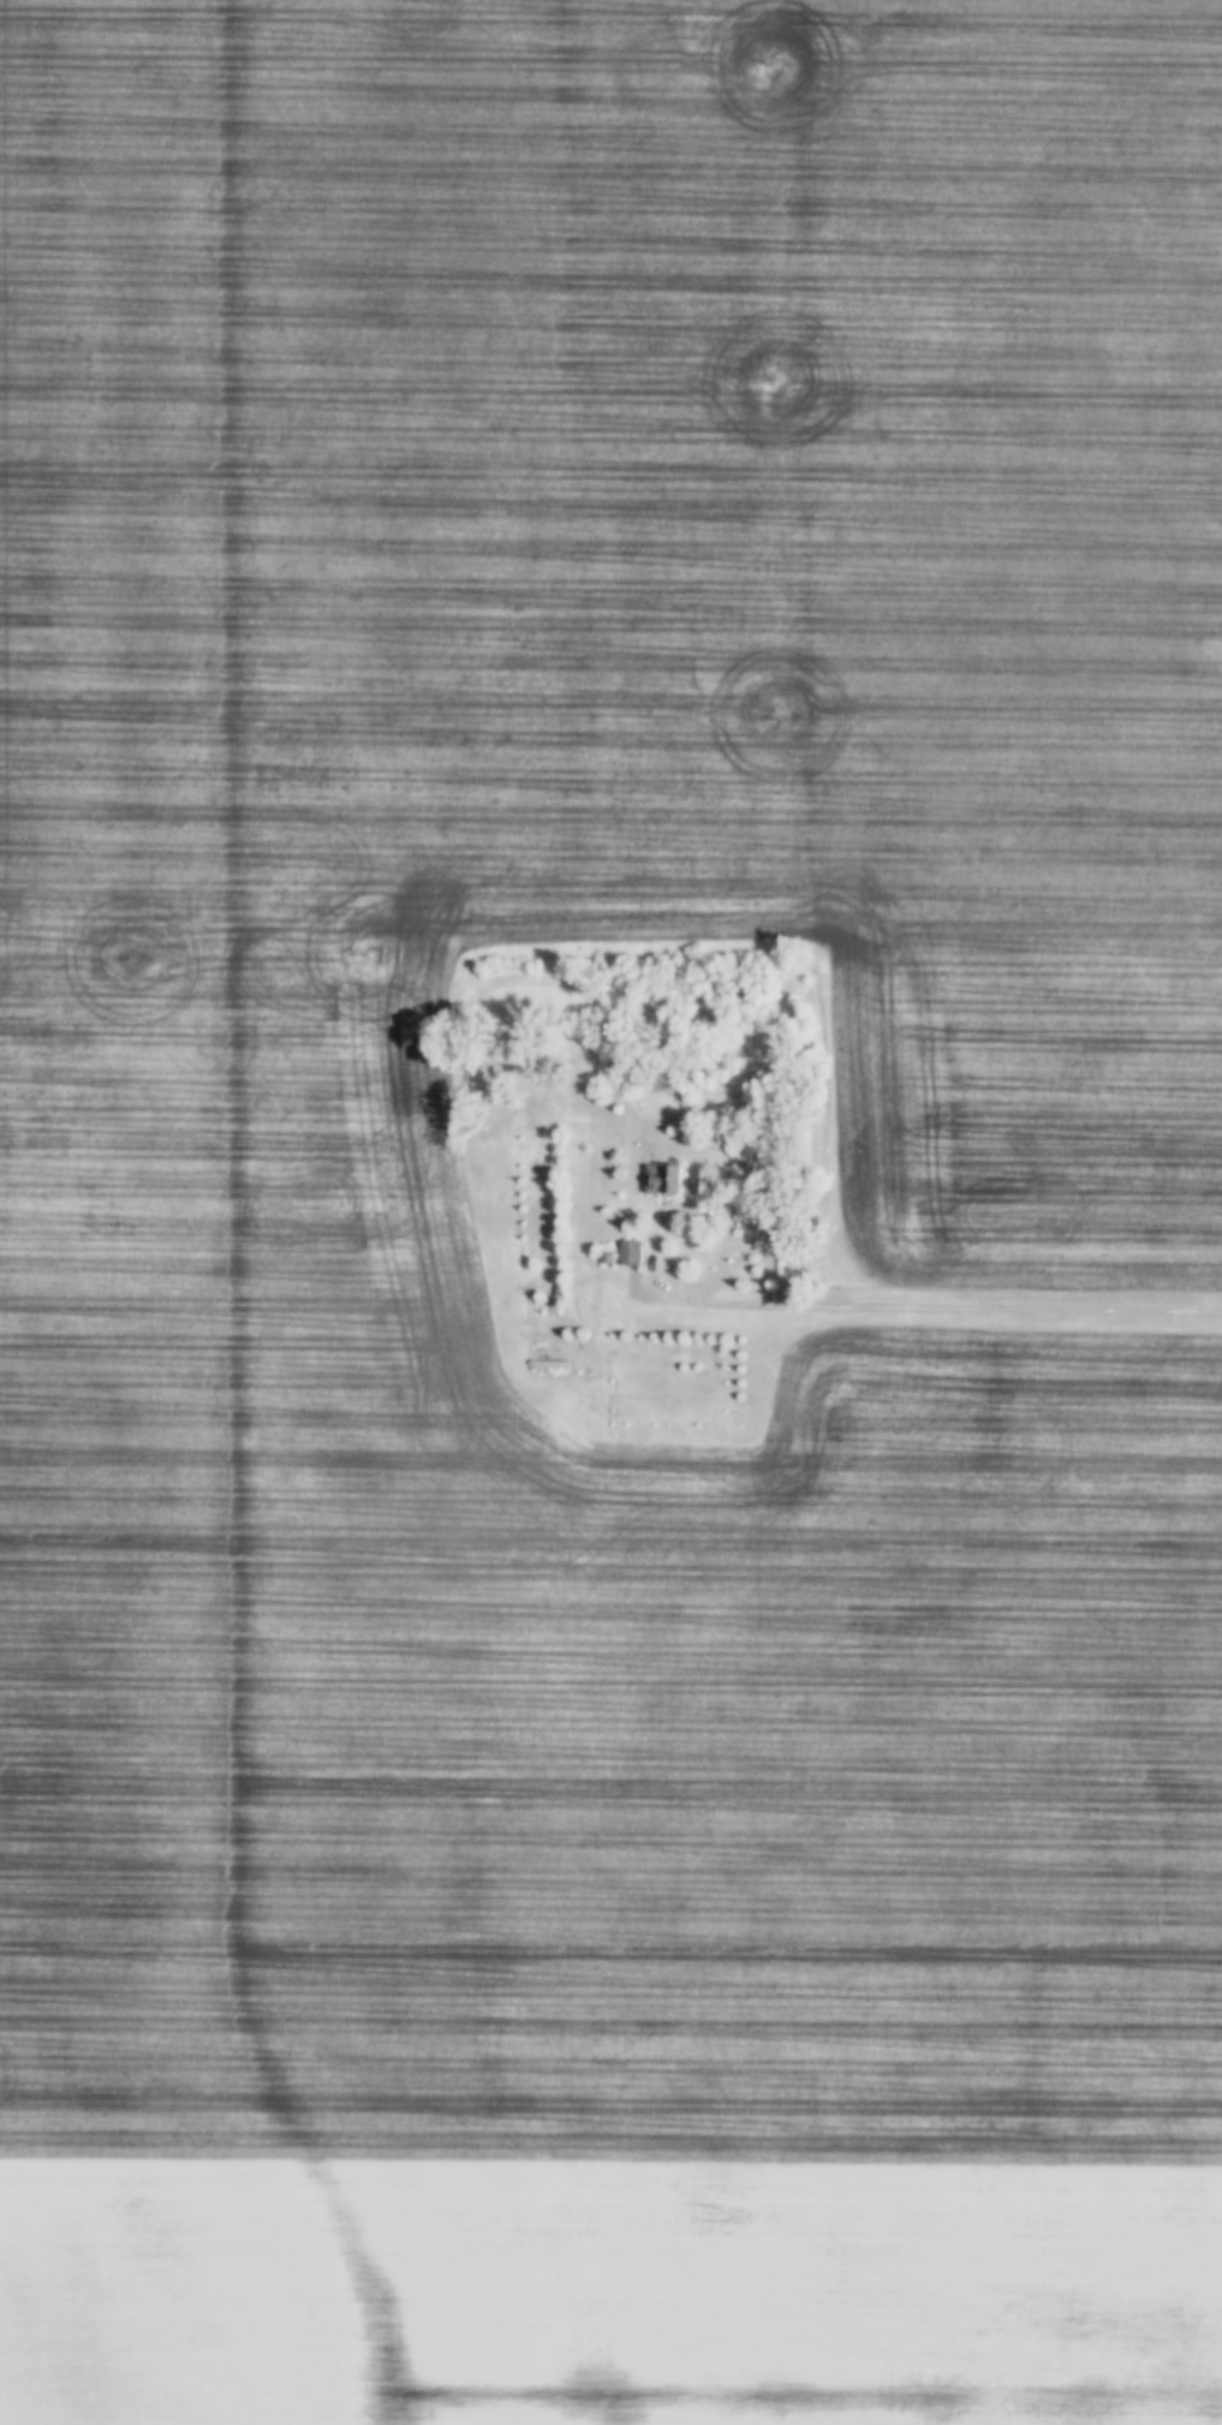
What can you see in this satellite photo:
road: (926, 1307)

